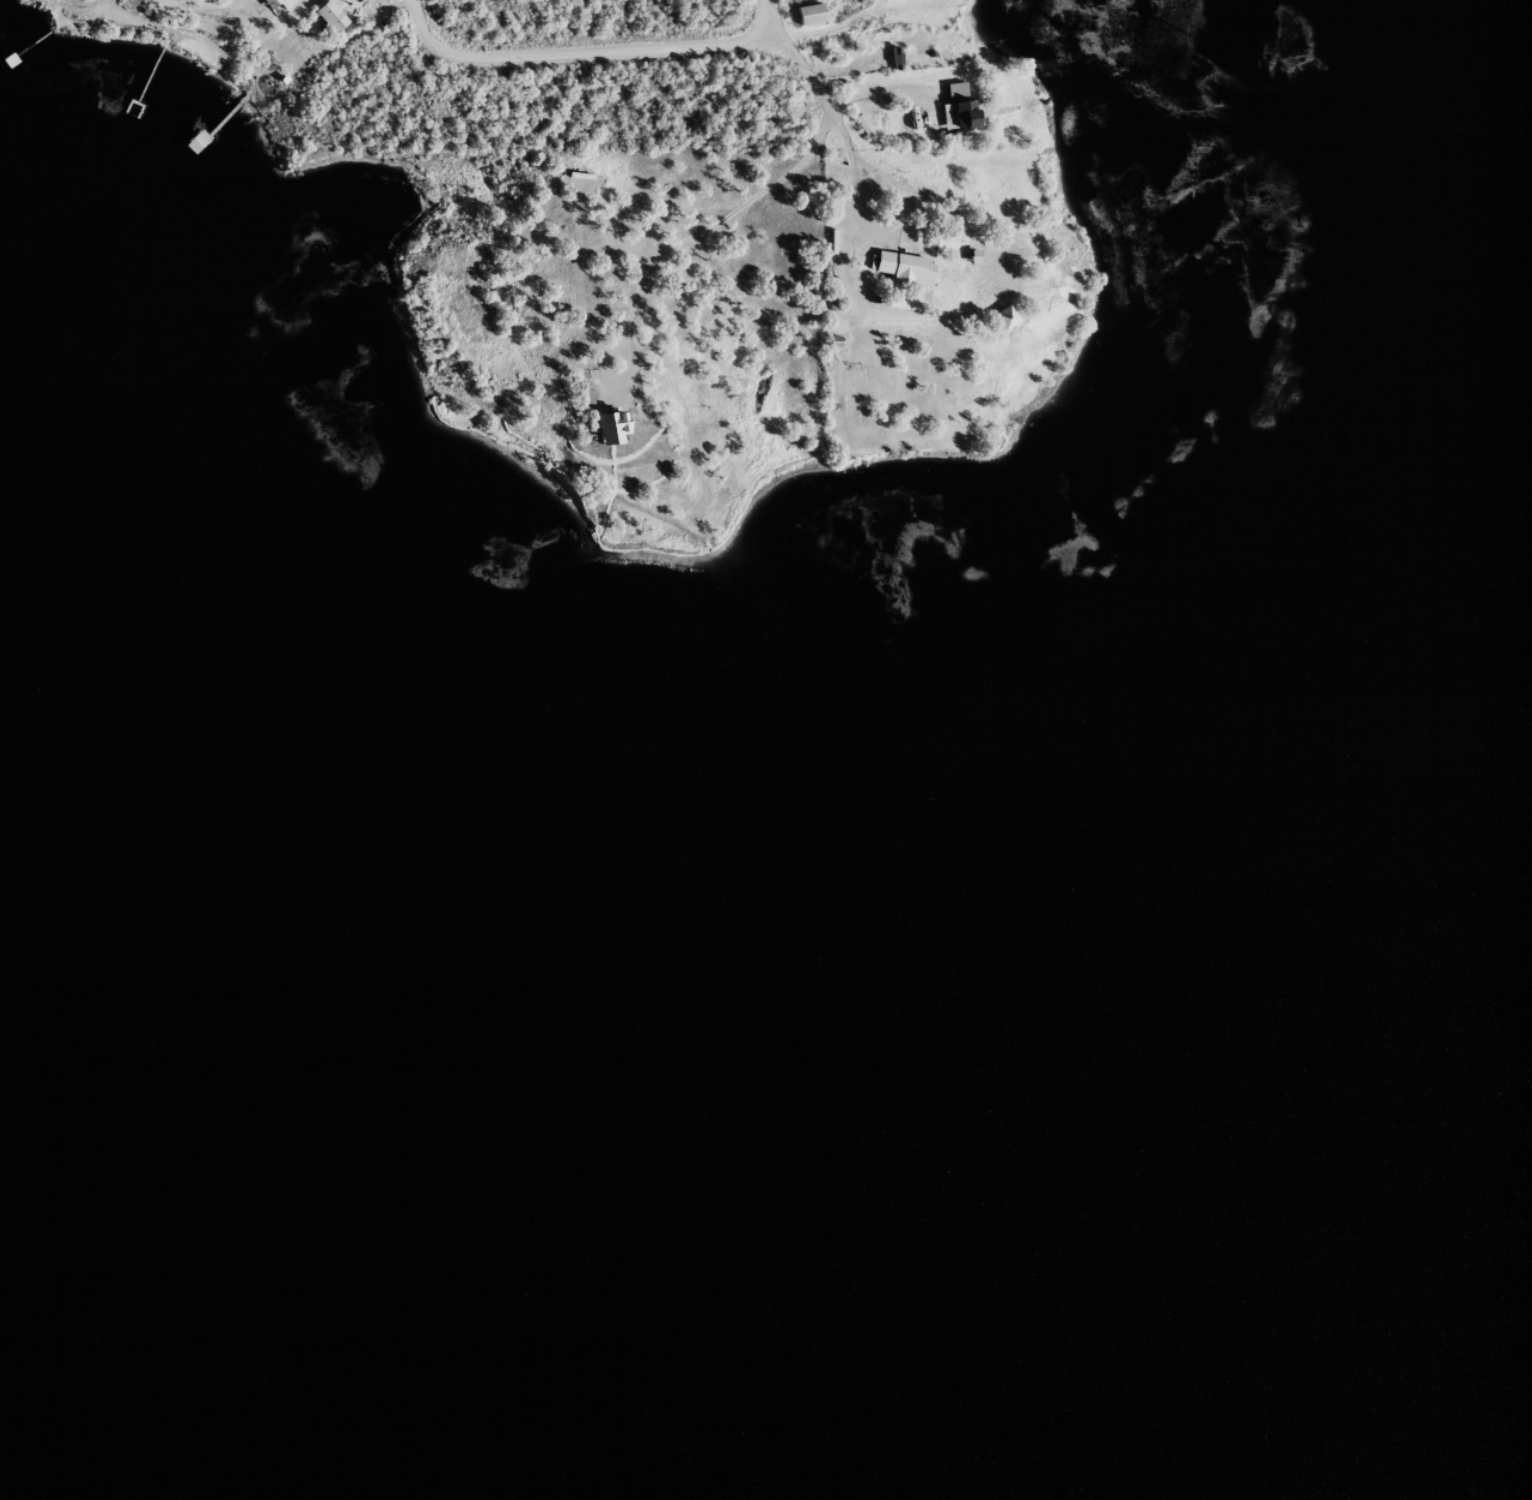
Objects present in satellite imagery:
building: (316, 0)
building: (233, 2)
building: (357, 3)
building: (276, 7)
building: (805, 22)
building: (327, 23)
road: (289, 51)
road: (795, 51)
road: (586, 53)
road: (854, 178)
road: (678, 244)
building: (900, 275)
building: (1000, 325)
building: (605, 436)

